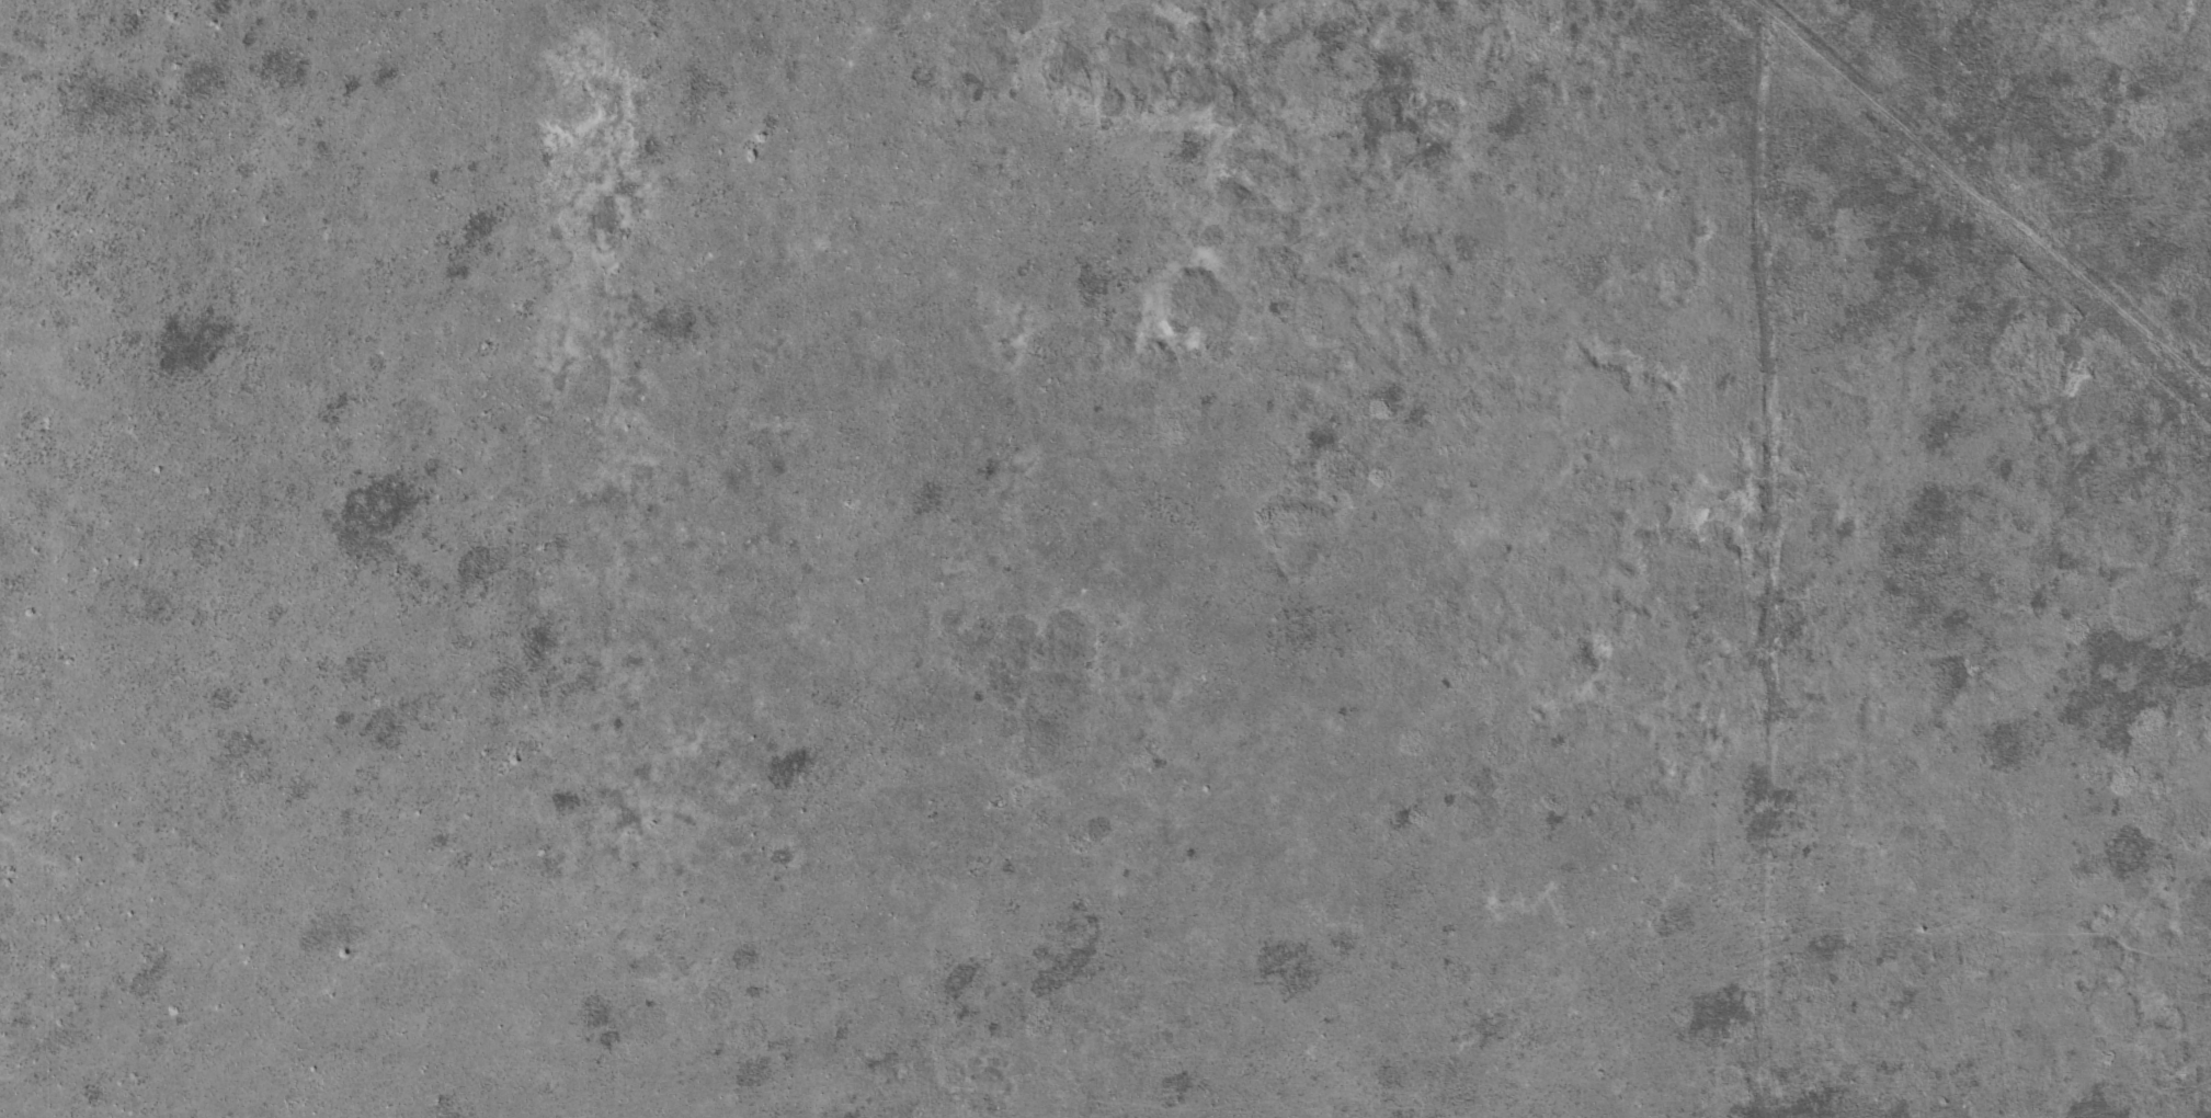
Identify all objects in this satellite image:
road: (1800, 559)

